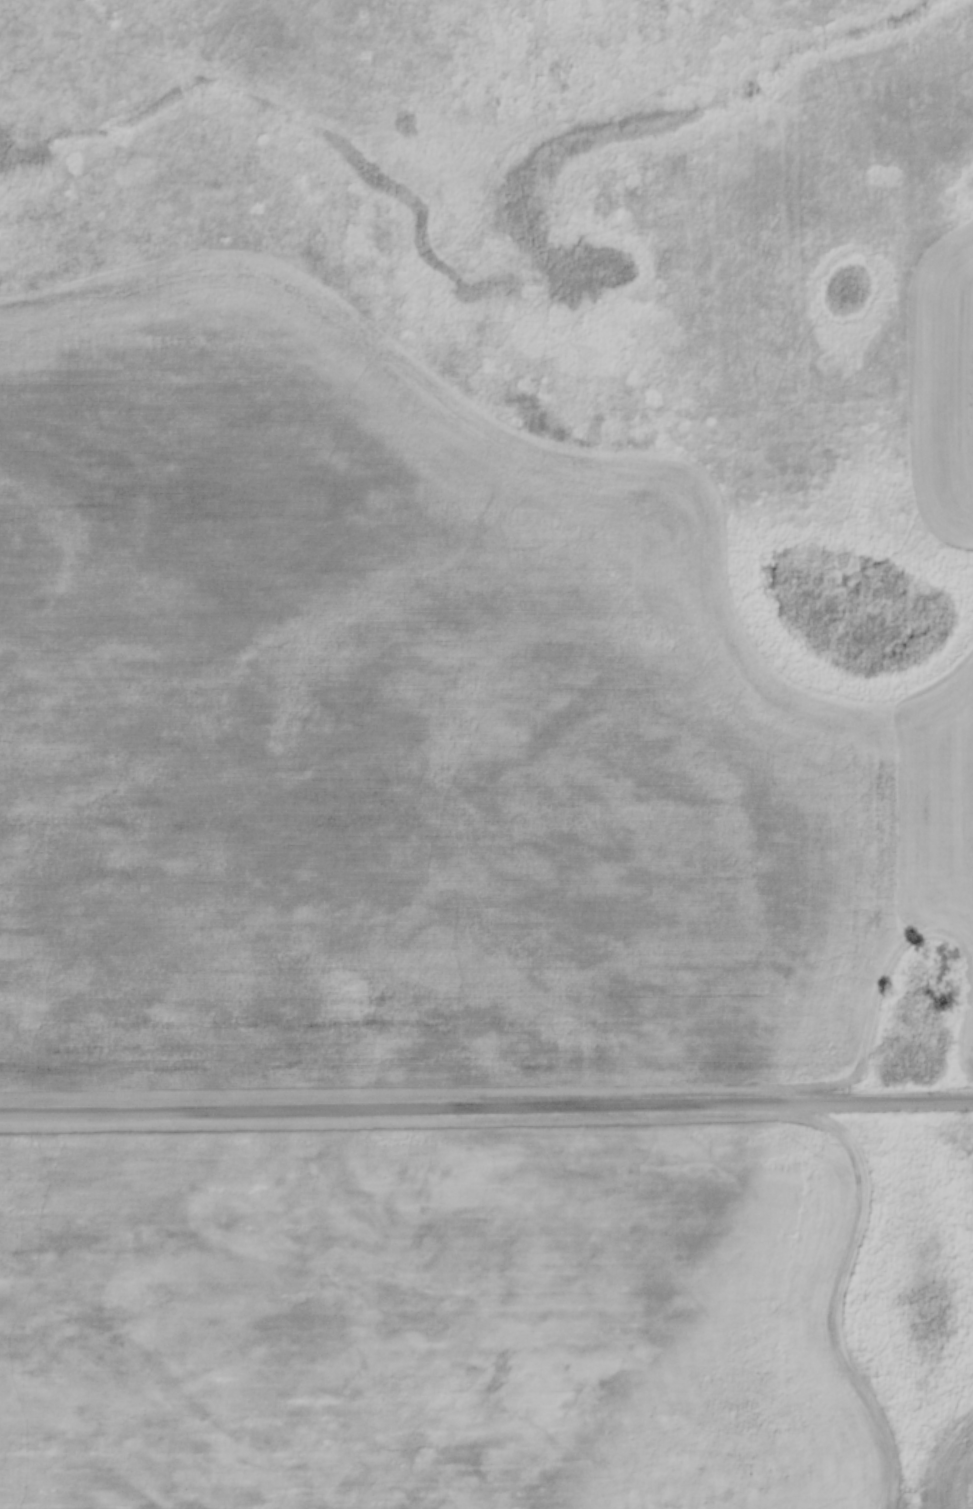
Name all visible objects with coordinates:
road: (486, 1105)

